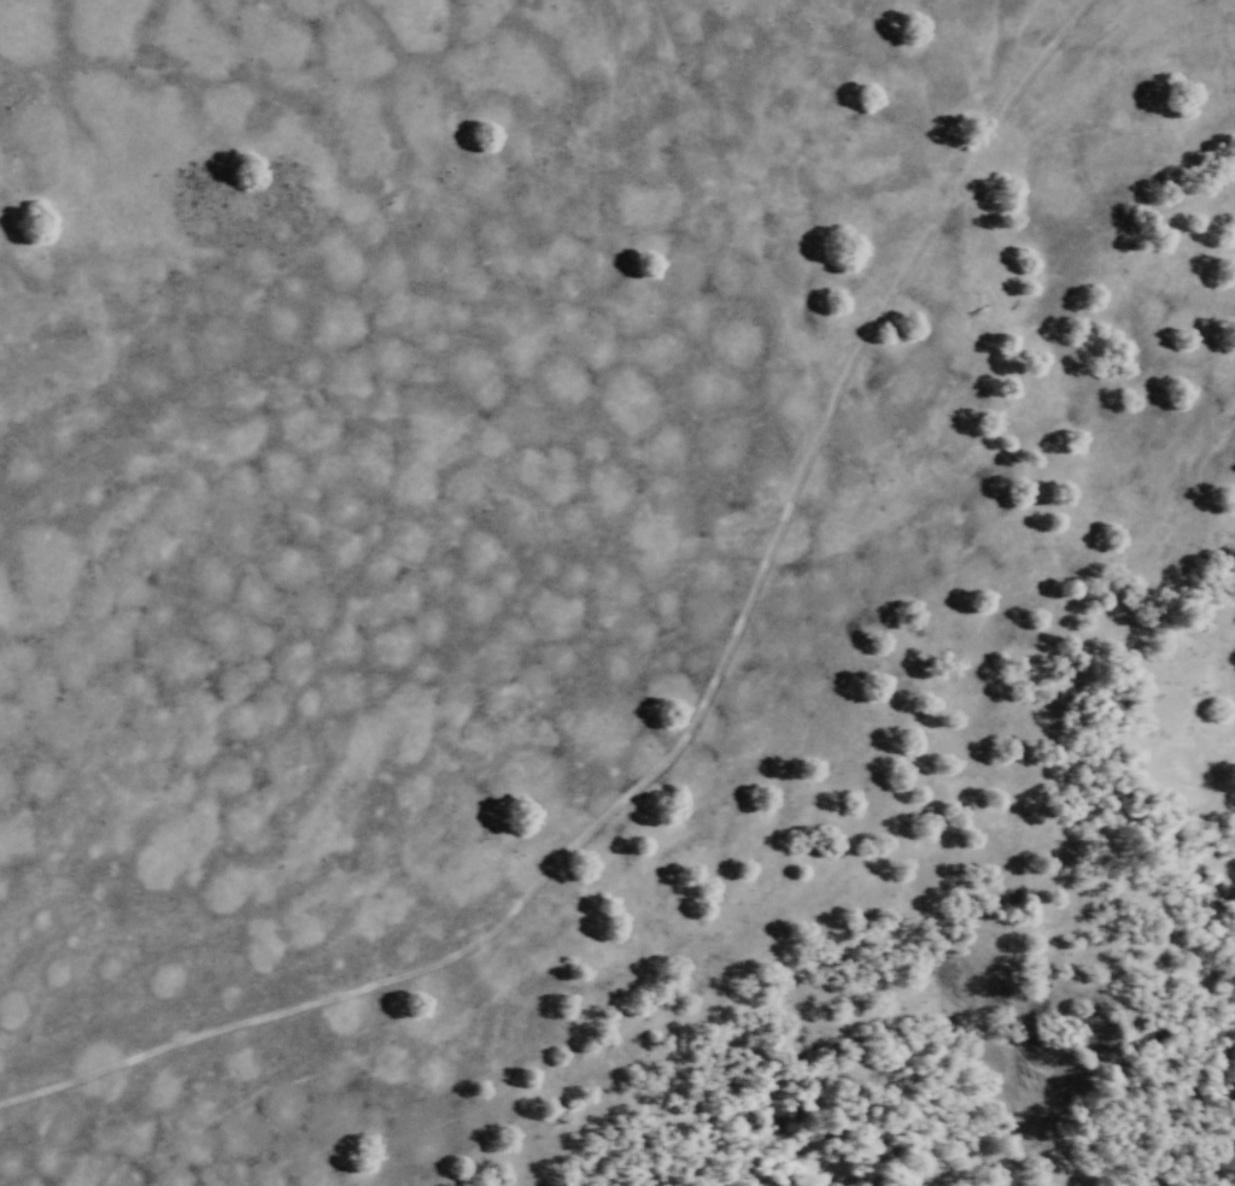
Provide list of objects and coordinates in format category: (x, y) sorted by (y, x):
road: (695, 716)

